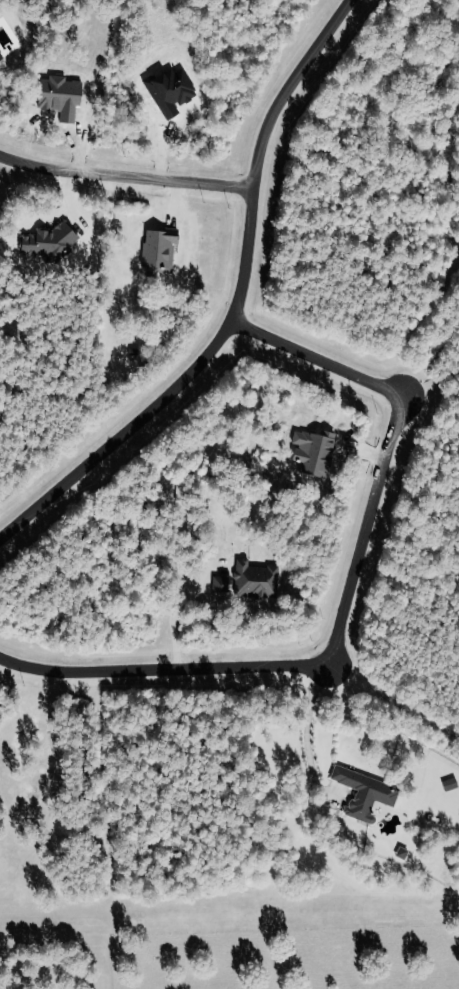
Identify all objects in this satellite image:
road: (125, 178)
building: (50, 240)
building: (160, 251)
road: (236, 306)
road: (427, 387)
building: (256, 580)
building: (221, 586)
road: (346, 603)
road: (173, 615)
road: (306, 732)
building: (366, 792)

